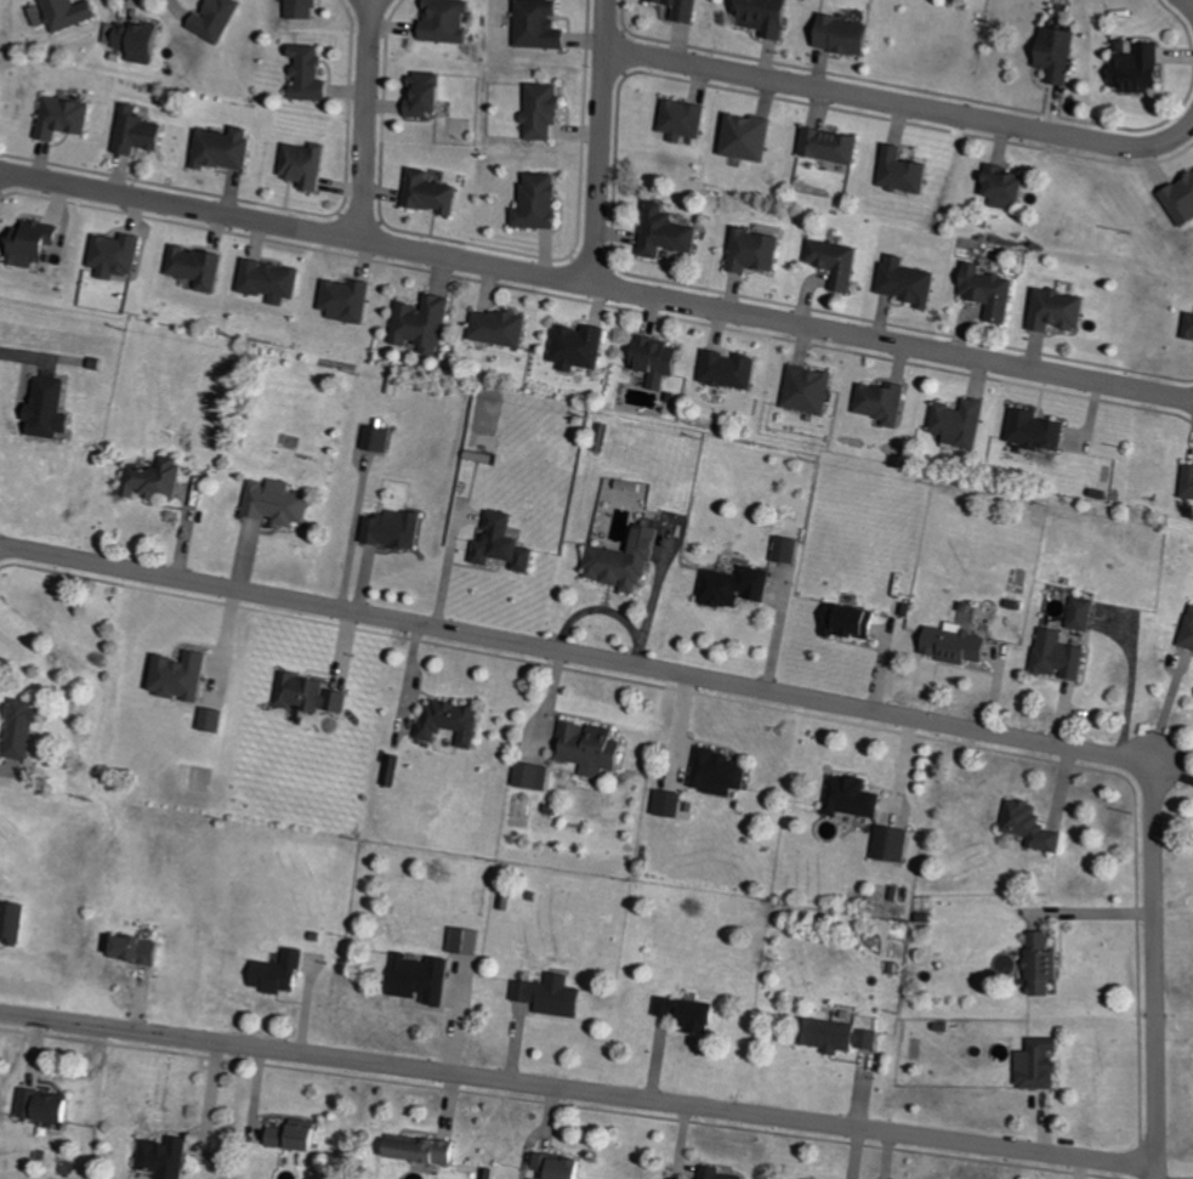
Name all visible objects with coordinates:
building: (307, 8)
building: (691, 10)
building: (70, 12)
building: (769, 16)
building: (220, 19)
building: (451, 21)
building: (545, 24)
building: (848, 35)
building: (140, 40)
building: (1060, 53)
building: (1141, 66)
building: (314, 74)
building: (431, 93)
road: (902, 103)
building: (547, 110)
building: (66, 117)
building: (687, 119)
road: (367, 120)
building: (141, 132)
building: (751, 137)
road: (602, 141)
building: (835, 146)
building: (227, 148)
building: (309, 165)
building: (908, 171)
road: (22, 177)
building: (1011, 187)
building: (434, 193)
building: (1182, 202)
building: (542, 203)
building: (672, 232)
building: (38, 244)
building: (759, 251)
building: (119, 255)
building: (841, 262)
building: (200, 267)
building: (273, 280)
building: (913, 282)
road: (619, 285)
building: (995, 291)
building: (350, 300)
building: (1064, 311)
building: (426, 324)
building: (502, 328)
building: (1192, 331)
building: (581, 346)
building: (660, 361)
building: (733, 370)
building: (812, 390)
building: (886, 403)
building: (55, 408)
building: (1041, 430)
building: (380, 438)
building: (160, 478)
building: (1191, 483)
building: (283, 503)
building: (398, 529)
building: (506, 544)
building: (790, 550)
building: (627, 562)
building: (739, 588)
building: (1086, 614)
building: (853, 622)
building: (1191, 639)
building: (960, 646)
road: (579, 654)
building: (1063, 656)
building: (188, 676)
building: (314, 695)
building: (454, 721)
building: (27, 730)
building: (593, 748)
building: (725, 773)
road: (1174, 773)
building: (534, 776)
building: (857, 798)
building: (672, 804)
building: (1038, 827)
building: (898, 844)
building: (13, 922)
building: (467, 941)
building: (144, 950)
building: (1046, 964)
road: (1158, 968)
building: (283, 974)
building: (426, 979)
building: (555, 996)
building: (691, 1014)
building: (846, 1037)
building: (1044, 1064)
road: (579, 1092)
building: (51, 1106)
building: (301, 1137)
building: (427, 1150)
building: (170, 1157)
building: (564, 1167)
building: (720, 1173)

